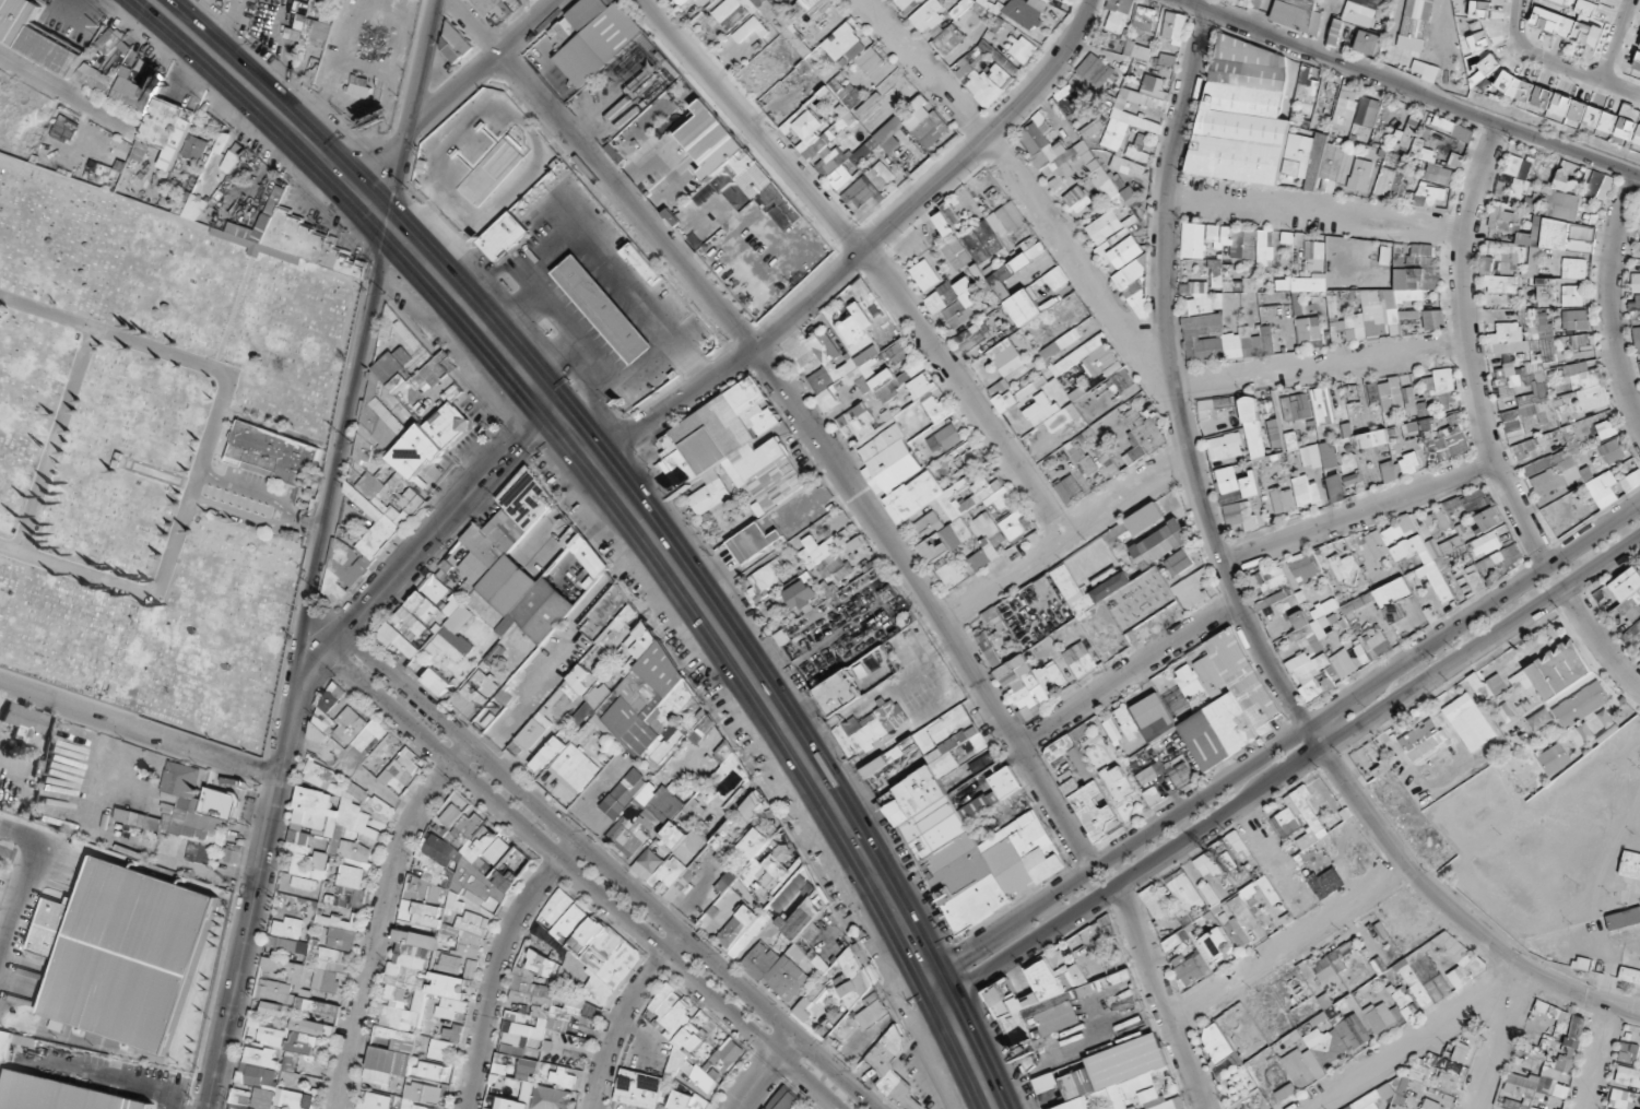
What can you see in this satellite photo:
park: (150, 451)
parking lot: (888, 689)

